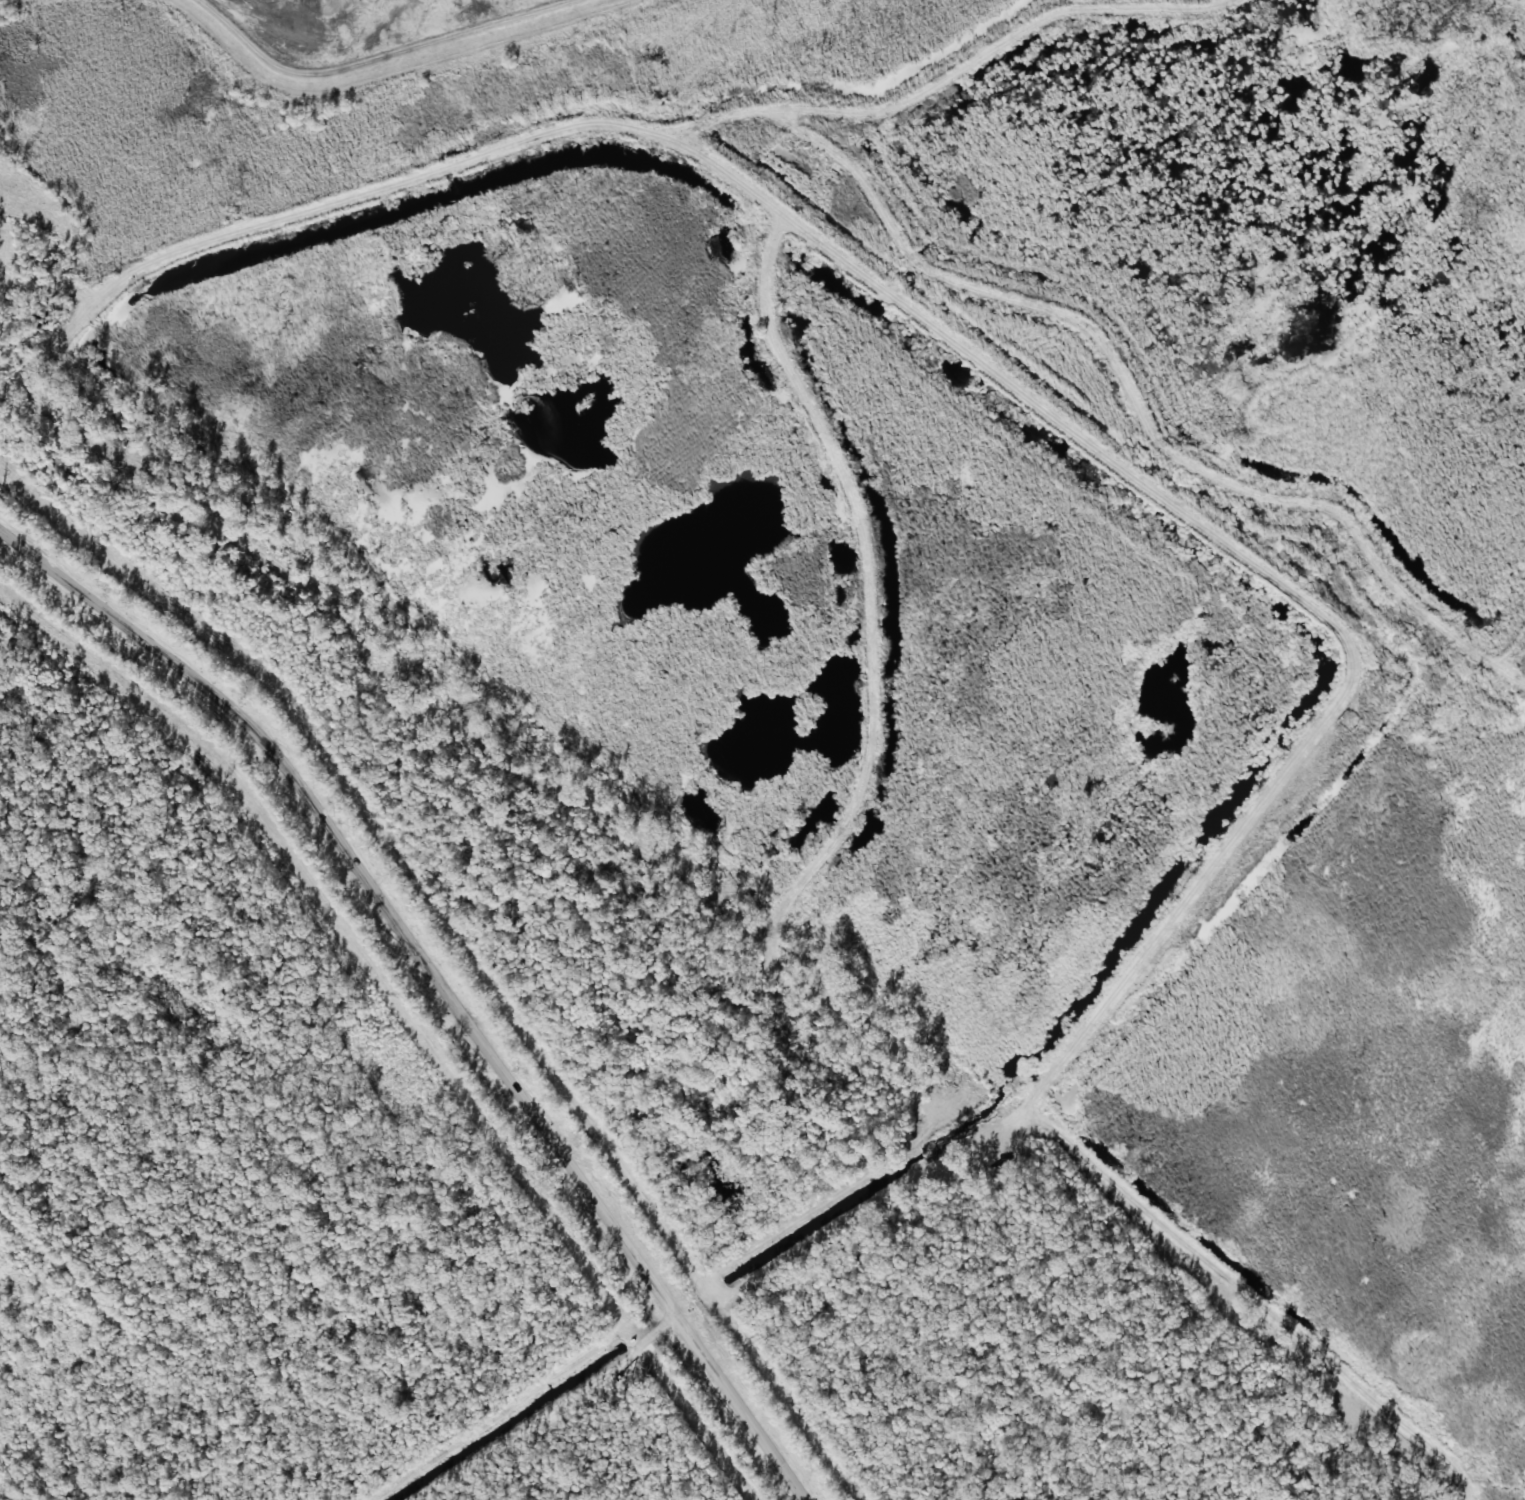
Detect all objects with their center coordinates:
road: (441, 980)

